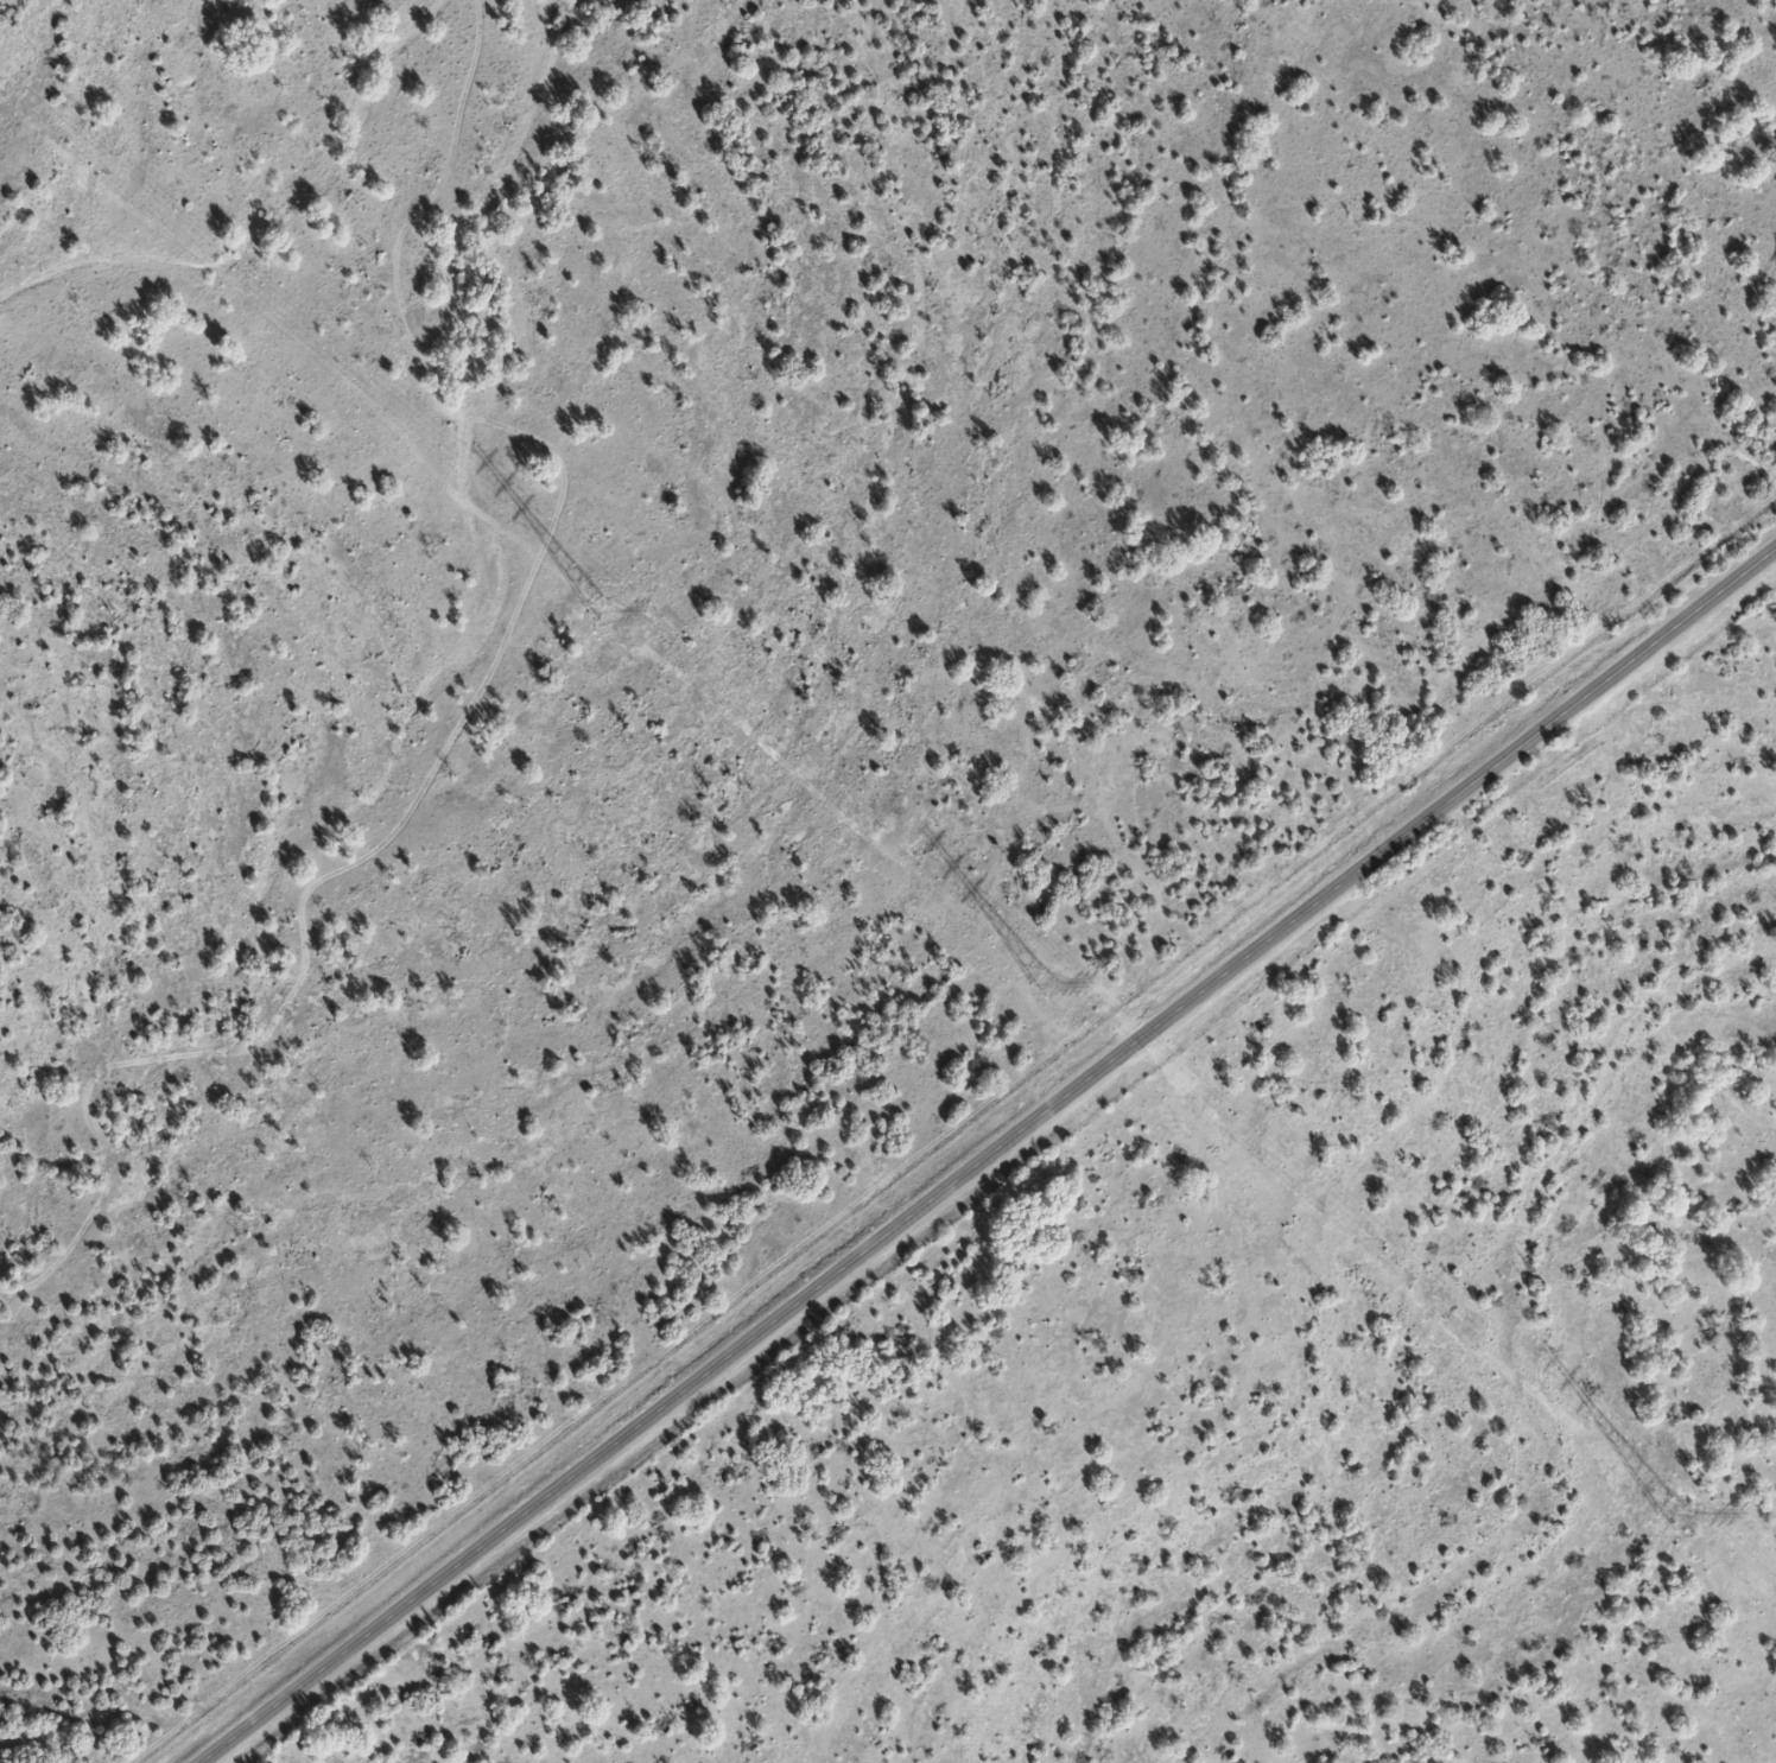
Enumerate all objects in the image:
power tower: (603, 610)
power tower: (1044, 981)
road: (991, 1158)
power tower: (1673, 1515)

